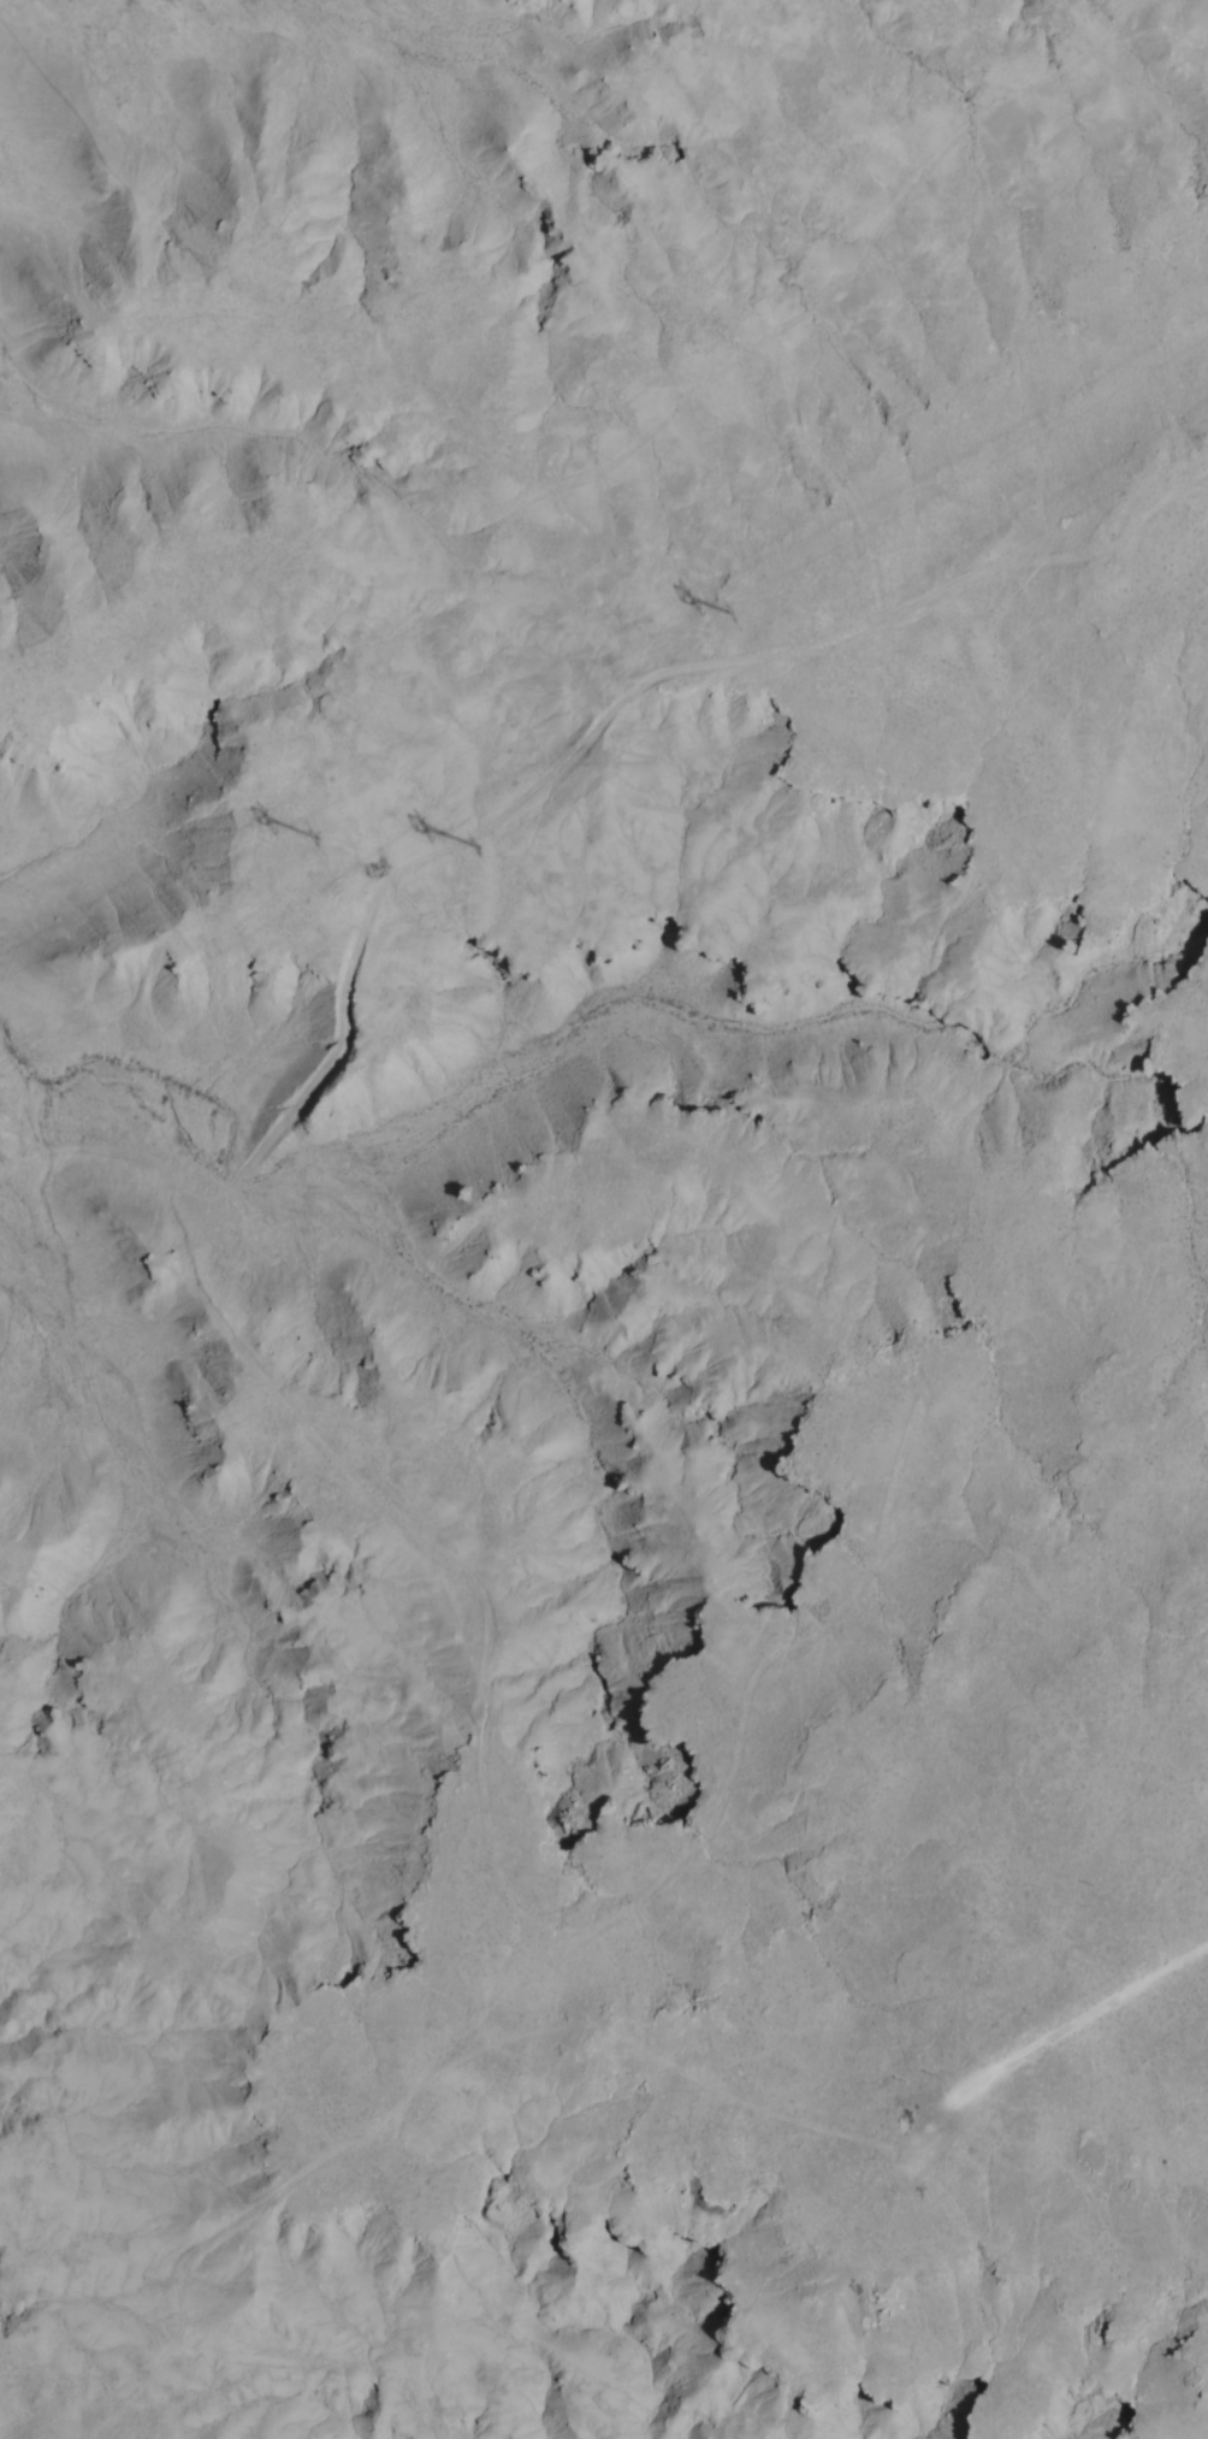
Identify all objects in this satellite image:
power tower: (740, 603)
power tower: (320, 828)
power tower: (481, 837)

